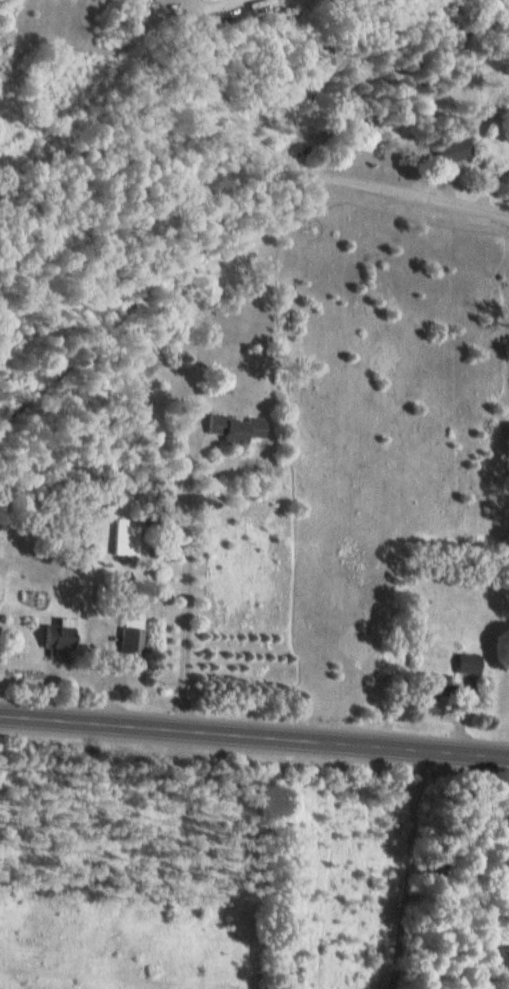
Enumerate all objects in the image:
road: (200, 4)
building: (449, 152)
road: (306, 169)
building: (234, 429)
building: (131, 636)
building: (55, 637)
building: (464, 664)
building: (429, 684)
road: (254, 737)

